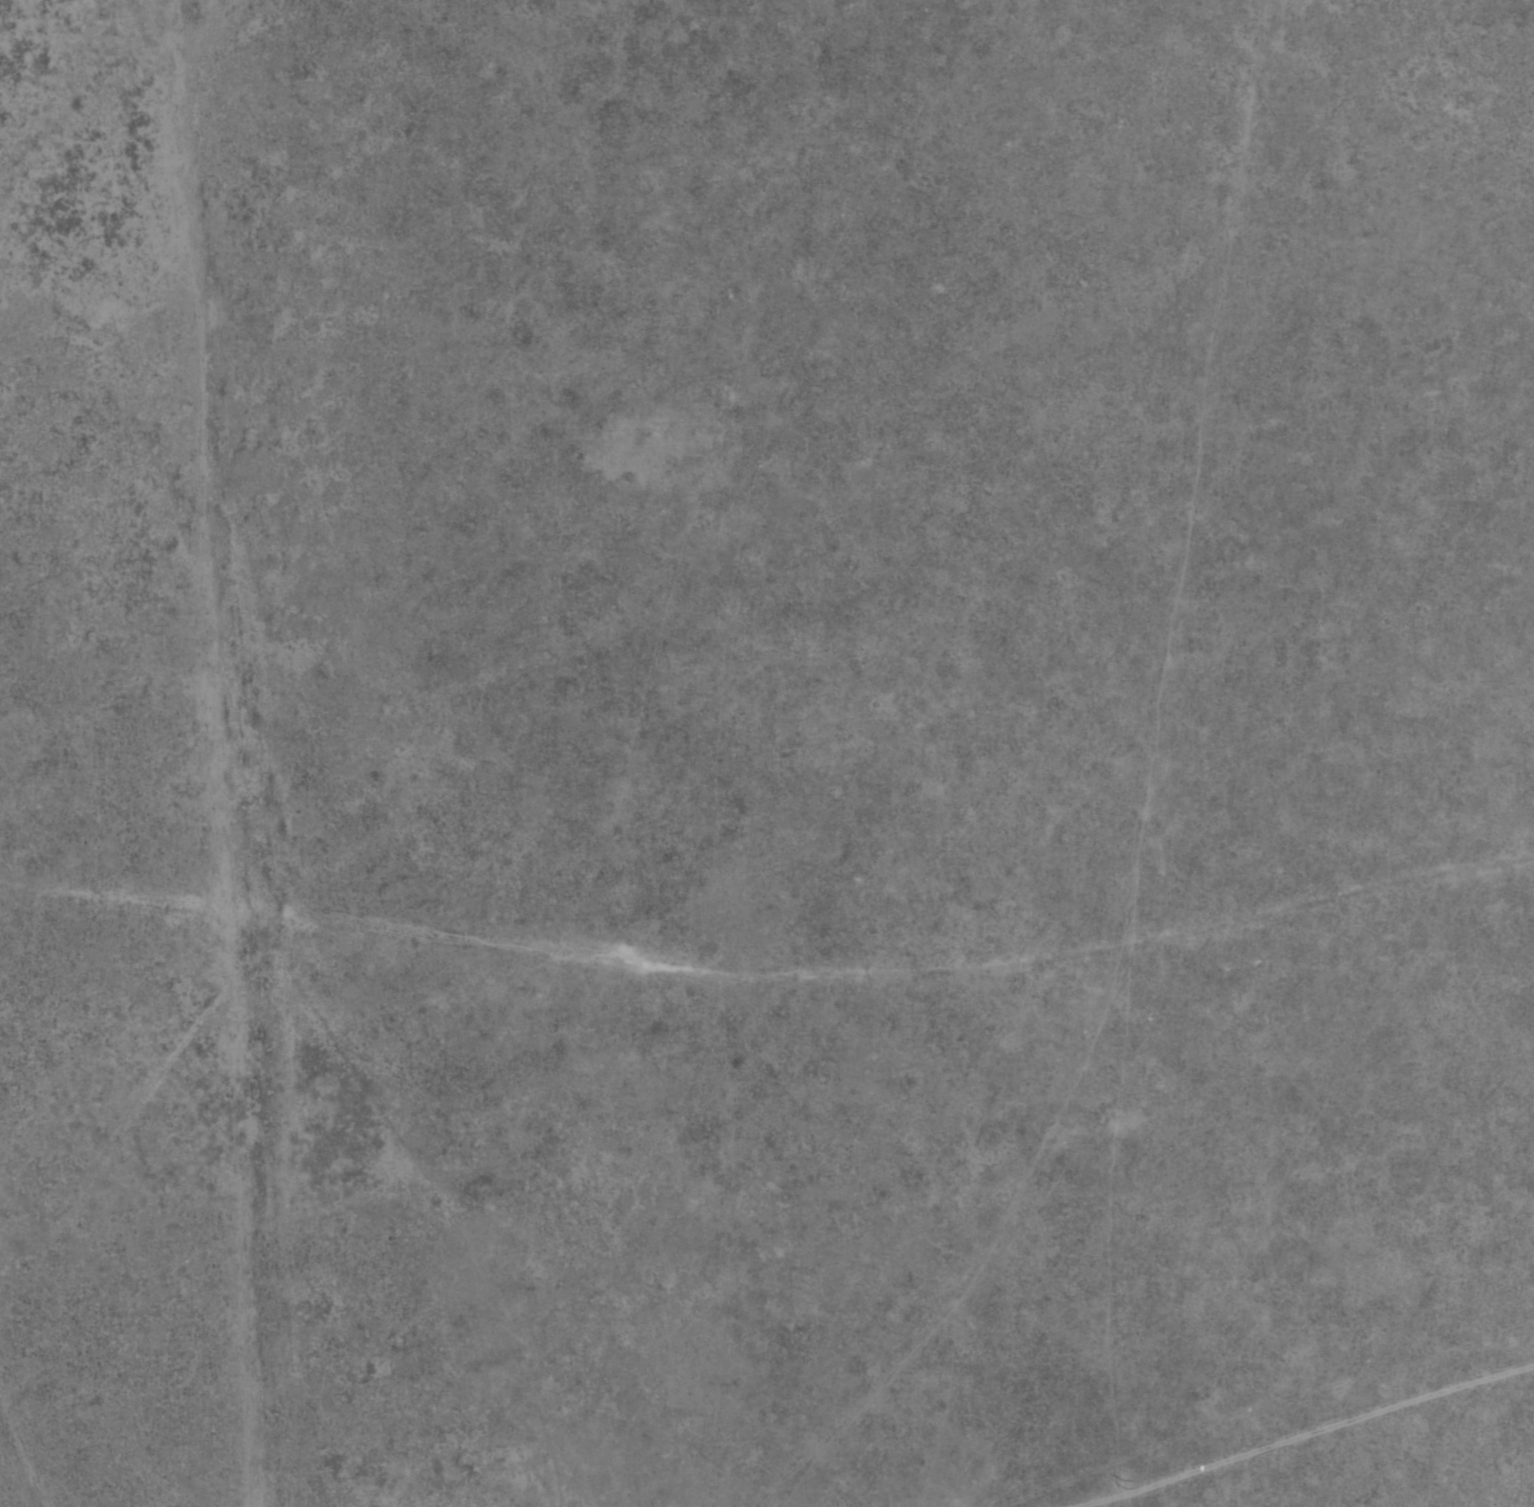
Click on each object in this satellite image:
road: (1441, 1469)
power tower: (1123, 1485)
power substation: (3, 1494)
building: (1529, 1505)

